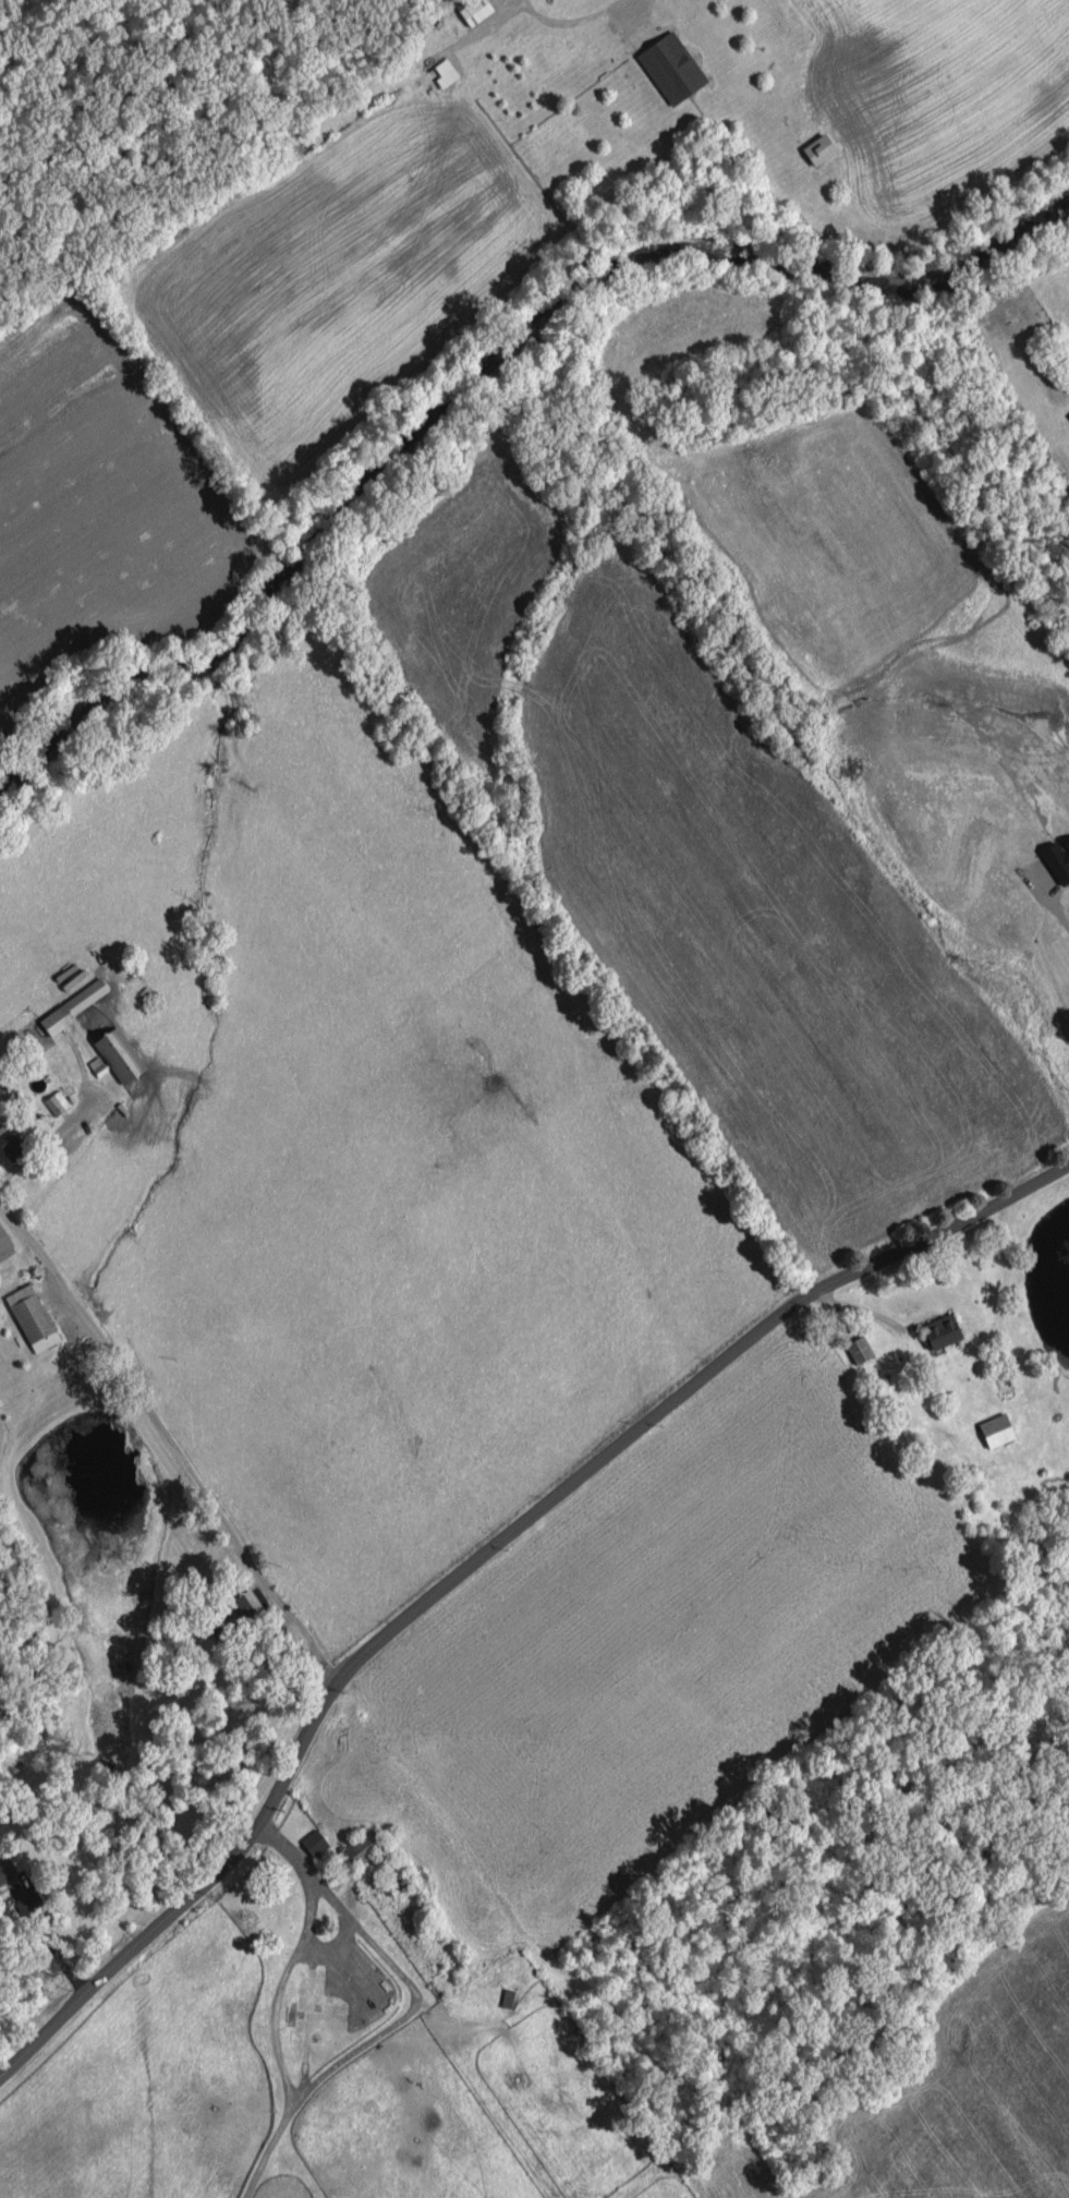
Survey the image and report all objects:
building: (475, 11)
building: (671, 67)
building: (445, 72)
building: (1068, 414)
building: (1058, 859)
road: (1055, 914)
building: (74, 1005)
building: (119, 1054)
building: (57, 1101)
building: (10, 1143)
building: (32, 1317)
building: (940, 1330)
building: (859, 1349)
road: (126, 1382)
building: (996, 1429)
road: (479, 1558)
building: (234, 1614)
building: (362, 1847)
building: (7, 1870)
road: (50, 1941)

